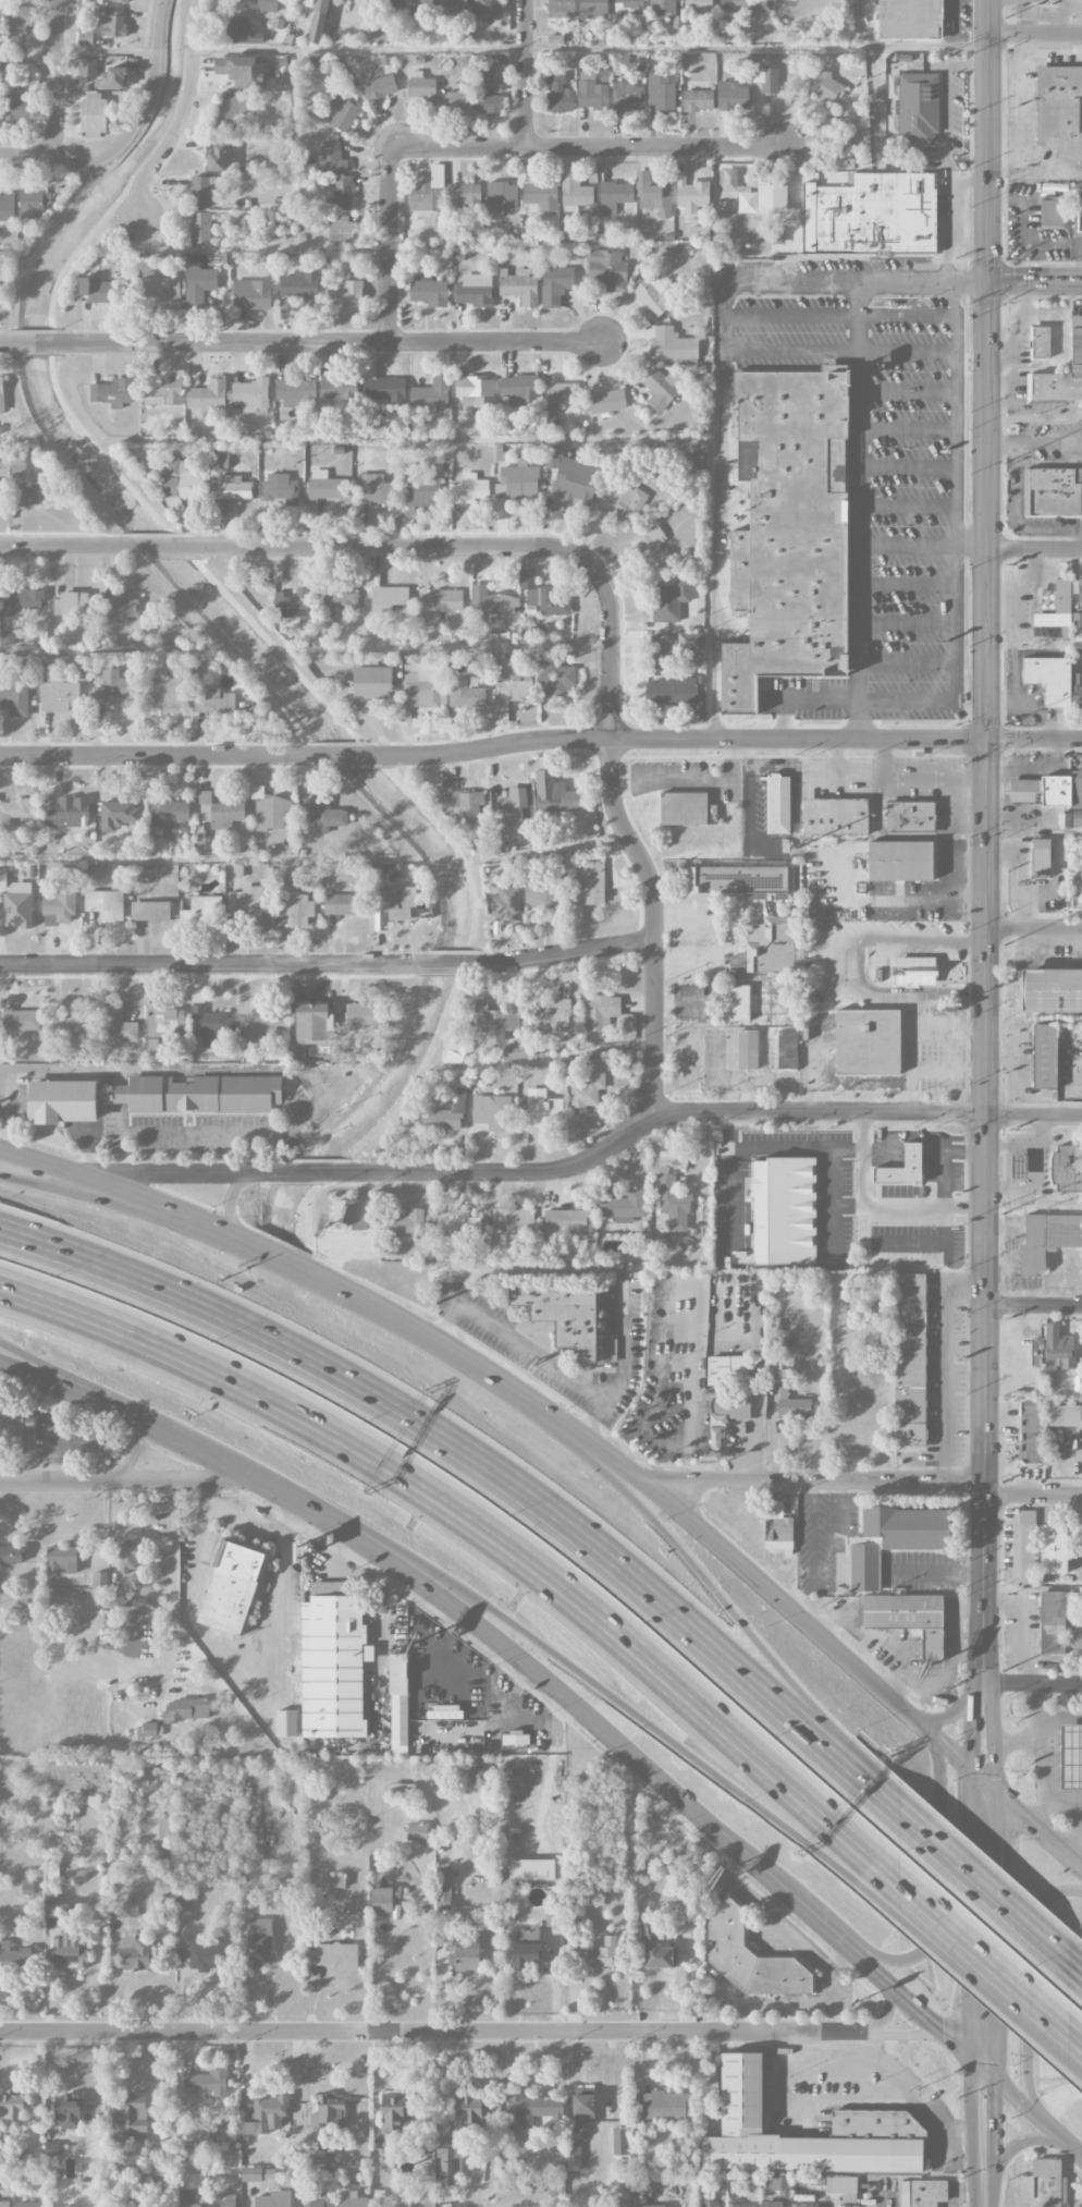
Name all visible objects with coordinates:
building: (125, 0)
building: (359, 0)
building: (767, 1)
building: (261, 4)
building: (393, 5)
building: (452, 5)
building: (700, 7)
building: (738, 7)
building: (419, 8)
building: (561, 8)
building: (628, 8)
building: (593, 9)
building: (662, 9)
building: (485, 10)
road: (1067, 16)
power tower: (1005, 17)
building: (909, 19)
building: (317, 21)
building: (110, 23)
building: (19, 25)
building: (243, 32)
building: (727, 34)
road: (1034, 34)
road: (906, 47)
road: (358, 49)
building: (87, 66)
building: (241, 72)
road: (525, 73)
building: (111, 77)
building: (766, 78)
road: (54, 80)
building: (824, 86)
building: (380, 87)
building: (420, 87)
building: (593, 90)
building: (488, 92)
building: (660, 93)
building: (558, 95)
building: (627, 96)
building: (731, 96)
building: (697, 100)
building: (455, 101)
building: (17, 107)
building: (918, 108)
building: (1058, 109)
building: (231, 110)
building: (343, 113)
building: (94, 114)
road: (142, 114)
road: (179, 120)
road: (945, 121)
road: (987, 141)
road: (588, 147)
building: (841, 153)
building: (214, 157)
building: (333, 158)
road: (27, 159)
building: (574, 191)
building: (199, 192)
building: (342, 193)
building: (428, 193)
building: (539, 194)
building: (653, 194)
building: (691, 194)
building: (465, 195)
building: (503, 196)
building: (614, 196)
building: (772, 198)
building: (32, 204)
building: (7, 206)
building: (1050, 212)
building: (870, 215)
building: (1079, 218)
road: (948, 225)
building: (200, 228)
building: (340, 228)
building: (700, 231)
road: (389, 244)
power tower: (1005, 259)
building: (607, 269)
traffic signals: (987, 281)
road: (1034, 281)
building: (198, 284)
building: (300, 285)
building: (555, 285)
building: (518, 286)
building: (161, 288)
building: (96, 291)
building: (428, 291)
building: (0, 294)
building: (251, 294)
building: (474, 294)
building: (345, 295)
building: (653, 295)
building: (286, 308)
road: (725, 315)
road: (329, 341)
building: (1038, 342)
road: (36, 344)
building: (671, 344)
road: (9, 345)
road: (909, 349)
building: (1060, 375)
building: (660, 388)
building: (385, 389)
building: (163, 390)
building: (337, 390)
building: (519, 390)
building: (112, 391)
building: (295, 391)
building: (475, 391)
building: (1, 393)
building: (563, 393)
building: (431, 394)
building: (208, 395)
building: (251, 395)
building: (606, 401)
building: (549, 412)
road: (861, 414)
road: (1033, 420)
road: (1000, 442)
road: (1049, 442)
building: (691, 455)
power tower: (1005, 463)
building: (17, 464)
road: (909, 467)
building: (570, 476)
building: (179, 481)
building: (517, 481)
road: (1016, 485)
building: (325, 486)
building: (423, 487)
building: (233, 488)
building: (281, 488)
building: (373, 488)
building: (470, 489)
building: (0, 490)
building: (1053, 492)
building: (33, 493)
parking lot: (886, 497)
building: (622, 501)
road: (909, 505)
road: (985, 510)
road: (1048, 527)
building: (788, 531)
road: (396, 545)
road: (715, 545)
road: (67, 547)
road: (164, 547)
building: (652, 548)
road: (1034, 548)
building: (1080, 590)
building: (542, 595)
road: (956, 597)
building: (388, 598)
building: (442, 600)
building: (668, 600)
building: (22, 601)
building: (340, 601)
building: (491, 601)
building: (72, 602)
building: (292, 603)
building: (119, 610)
building: (1055, 614)
building: (1077, 620)
building: (288, 623)
building: (7, 637)
road: (859, 643)
road: (1033, 644)
building: (672, 649)
building: (1, 668)
building: (555, 678)
building: (1049, 679)
building: (371, 682)
building: (516, 682)
building: (425, 686)
building: (110, 688)
building: (671, 690)
building: (1075, 691)
building: (465, 695)
building: (58, 696)
building: (162, 696)
building: (14, 697)
building: (212, 702)
power tower: (1004, 724)
road: (681, 741)
traffic signals: (985, 741)
road: (1033, 741)
road: (164, 756)
road: (355, 757)
road: (881, 759)
parking lot: (1035, 764)
road: (833, 766)
road: (909, 778)
building: (1075, 780)
road: (691, 781)
building: (1037, 791)
building: (553, 794)
building: (779, 803)
building: (468, 805)
building: (269, 809)
building: (686, 809)
building: (513, 810)
building: (14, 812)
building: (168, 812)
building: (219, 812)
building: (67, 813)
building: (323, 813)
building: (116, 815)
building: (835, 816)
road: (957, 816)
building: (911, 817)
building: (1077, 818)
building: (1063, 820)
road: (1033, 833)
road: (629, 839)
building: (1036, 859)
building: (900, 861)
road: (957, 871)
building: (2, 878)
building: (740, 882)
building: (1075, 882)
building: (588, 885)
building: (881, 888)
parking lot: (924, 891)
building: (542, 893)
road: (922, 900)
building: (393, 903)
building: (104, 904)
building: (343, 904)
building: (245, 905)
building: (504, 905)
building: (59, 907)
building: (16, 910)
building: (296, 910)
building: (152, 911)
building: (204, 912)
road: (1033, 928)
road: (715, 940)
power tower: (1003, 944)
building: (766, 947)
parking lot: (876, 948)
road: (563, 954)
road: (216, 965)
road: (451, 965)
road: (817, 965)
building: (914, 972)
building: (1052, 991)
building: (736, 1003)
building: (601, 1011)
building: (358, 1016)
building: (553, 1016)
road: (1033, 1016)
building: (20, 1020)
building: (165, 1021)
building: (492, 1022)
building: (260, 1023)
building: (74, 1024)
building: (118, 1025)
building: (210, 1025)
building: (309, 1028)
road: (910, 1033)
building: (868, 1042)
building: (151, 1048)
building: (516, 1049)
building: (747, 1049)
parking lot: (934, 1049)
building: (456, 1050)
building: (787, 1050)
building: (1045, 1058)
road: (816, 1068)
road: (947, 1070)
building: (588, 1086)
building: (199, 1094)
building: (61, 1101)
building: (540, 1108)
building: (492, 1112)
road: (649, 1113)
building: (446, 1114)
road: (1033, 1114)
road: (213, 1132)
road: (1010, 1147)
road: (775, 1151)
road: (880, 1151)
road: (251, 1154)
road: (940, 1156)
building: (1019, 1166)
building: (902, 1167)
building: (1065, 1169)
road: (182, 1175)
road: (308, 1175)
road: (1035, 1175)
road: (116, 1190)
road: (832, 1191)
road: (733, 1193)
building: (673, 1203)
building: (625, 1205)
road: (876, 1207)
road: (114, 1208)
building: (784, 1210)
road: (984, 1211)
road: (1033, 1211)
building: (349, 1214)
power tower: (1003, 1214)
building: (564, 1221)
building: (515, 1223)
building: (405, 1226)
building: (455, 1228)
road: (833, 1228)
building: (1047, 1239)
road: (345, 1291)
road: (1033, 1306)
building: (562, 1314)
road: (623, 1344)
building: (1057, 1351)
building: (1036, 1352)
road: (532, 1354)
building: (910, 1359)
road: (944, 1362)
building: (727, 1370)
road: (85, 1386)
road: (687, 1389)
road: (84, 1399)
road: (1033, 1400)
building: (794, 1405)
building: (1063, 1415)
building: (15, 1432)
building: (1031, 1434)
building: (715, 1435)
road: (478, 1461)
road: (251, 1477)
road: (817, 1478)
road: (124, 1480)
power tower: (1001, 1483)
road: (1032, 1495)
road: (249, 1517)
building: (777, 1527)
road: (836, 1529)
road: (699, 1531)
road: (487, 1535)
building: (894, 1539)
road: (327, 1548)
road: (813, 1548)
building: (1023, 1548)
building: (1054, 1550)
building: (11, 1554)
building: (127, 1557)
building: (61, 1559)
road: (687, 1561)
road: (937, 1570)
building: (99, 1580)
road: (823, 1582)
building: (233, 1586)
road: (172, 1590)
building: (118, 1597)
building: (908, 1618)
building: (1052, 1623)
building: (1075, 1642)
building: (332, 1663)
power tower: (1001, 1671)
road: (1032, 1684)
road: (571, 1702)
building: (397, 1705)
road: (618, 1708)
building: (189, 1709)
road: (1038, 1710)
building: (443, 1712)
road: (1060, 1717)
road: (942, 1720)
building: (285, 1723)
road: (972, 1726)
building: (149, 1730)
road: (993, 1734)
building: (515, 1740)
traffic signals: (972, 1745)
road: (948, 1751)
road: (1043, 1757)
building: (1070, 1757)
gas station: (1070, 1757)
building: (148, 1764)
building: (477, 1777)
road: (983, 1779)
building: (401, 1790)
traffic signals: (1010, 1803)
road: (894, 1807)
road: (1063, 1810)
traffic signals: (995, 1825)
road: (1037, 1825)
building: (167, 1827)
building: (416, 1832)
road: (1073, 1838)
building: (169, 1855)
building: (530, 1869)
road: (933, 1879)
building: (336, 1881)
road: (986, 1888)
building: (443, 1890)
building: (183, 1895)
building: (384, 1899)
road: (995, 1903)
building: (124, 1906)
building: (53, 1910)
road: (972, 1913)
building: (553, 1916)
road: (822, 1924)
building: (648, 1930)
building: (260, 1942)
building: (527, 1949)
building: (67, 1952)
building: (135, 1952)
building: (464, 1952)
building: (333, 1954)
building: (595, 1954)
building: (13, 1955)
building: (659, 1956)
building: (749, 1956)
building: (198, 1958)
road: (985, 1967)
road: (1078, 1967)
road: (379, 1974)
road: (1028, 1985)
road: (983, 1996)
road: (911, 2002)
road: (886, 2013)
road: (901, 2031)
road: (429, 2032)
traffic signals: (973, 2033)
traffic signals: (950, 2037)
road: (1077, 2045)
road: (995, 2048)
road: (984, 2068)
road: (1079, 2080)
road: (973, 2082)
building: (207, 2083)
road: (882, 2094)
road: (1018, 2097)
traffic signals: (996, 2099)
building: (664, 2106)
building: (11, 2108)
building: (536, 2108)
building: (65, 2109)
building: (467, 2109)
building: (265, 2111)
building: (329, 2113)
building: (395, 2113)
building: (126, 2117)
road: (995, 2122)
building: (876, 2123)
building: (578, 2125)
road: (1060, 2135)
road: (1035, 2139)
building: (619, 2142)
building: (310, 2149)
road: (973, 2151)
building: (198, 2153)
building: (321, 2159)
building: (447, 2162)
building: (269, 2173)
building: (250, 2174)
building: (149, 2175)
road: (991, 2181)
building: (1047, 2183)
building: (779, 2185)
building: (843, 2187)
building: (927, 2193)
building: (186, 2198)
building: (272, 2199)
building: (352, 2199)
building: (221, 2200)
building: (320, 2200)
road: (985, 2200)
building: (4, 2203)
building: (27, 2204)
building: (709, 2204)
building: (771, 2204)
building: (803, 2205)
building: (648, 2206)
building: (740, 2206)

